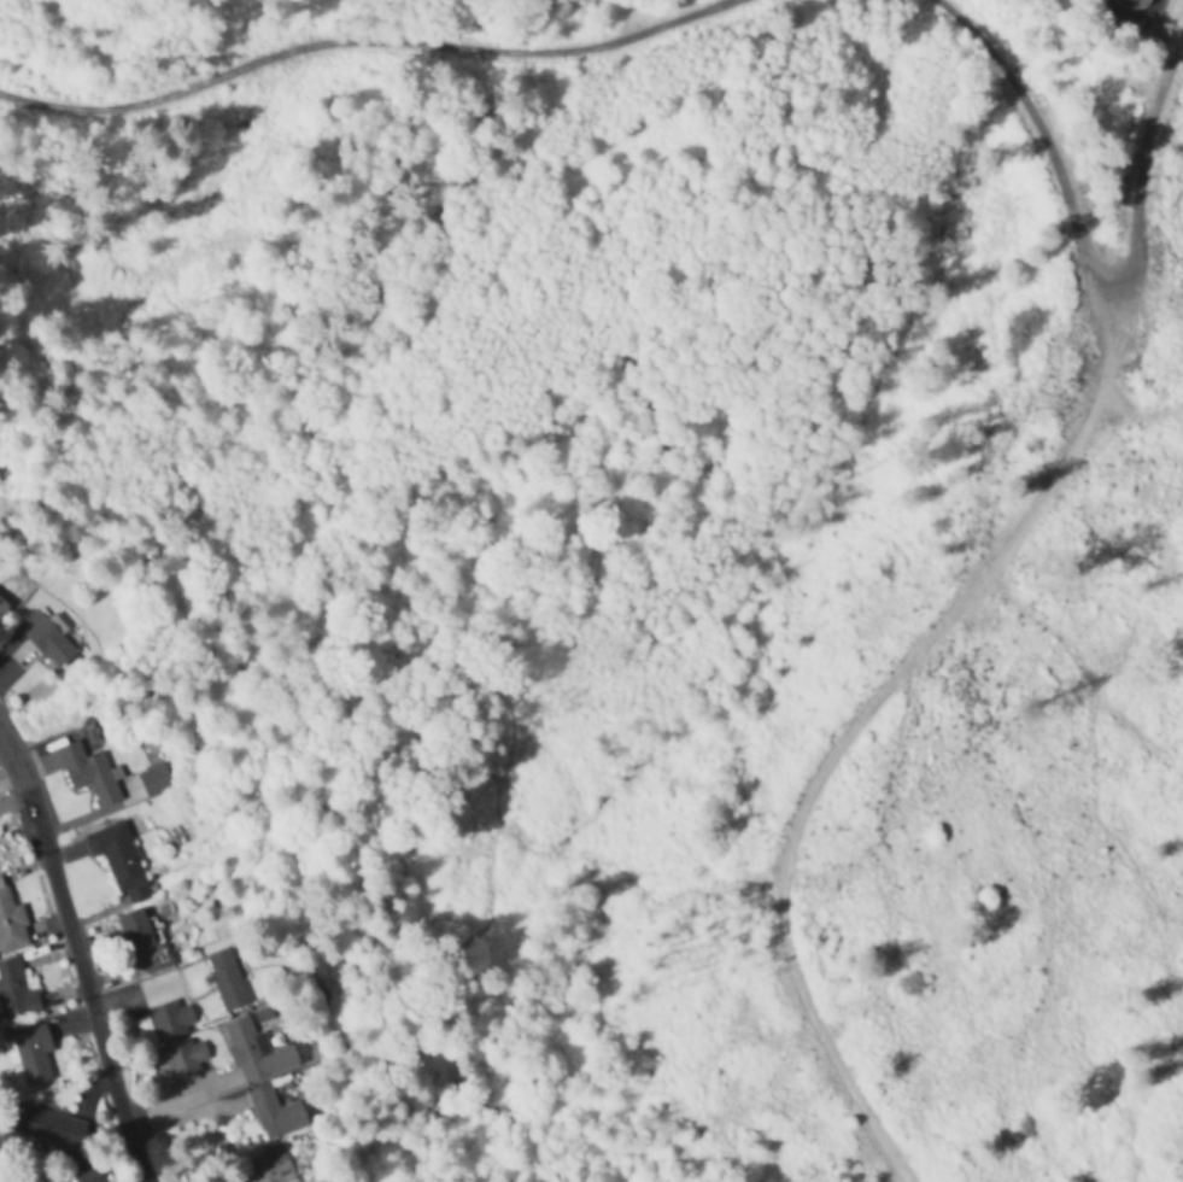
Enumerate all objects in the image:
building: (1134, 4)
road: (365, 47)
road: (1087, 248)
building: (4, 603)
building: (46, 638)
building: (89, 774)
building: (153, 780)
building: (119, 860)
building: (11, 924)
building: (139, 937)
road: (76, 958)
building: (227, 981)
building: (16, 990)
building: (170, 1020)
building: (257, 1052)
building: (33, 1054)
building: (185, 1058)
building: (276, 1113)
building: (49, 1125)
building: (270, 1168)
building: (90, 1176)

